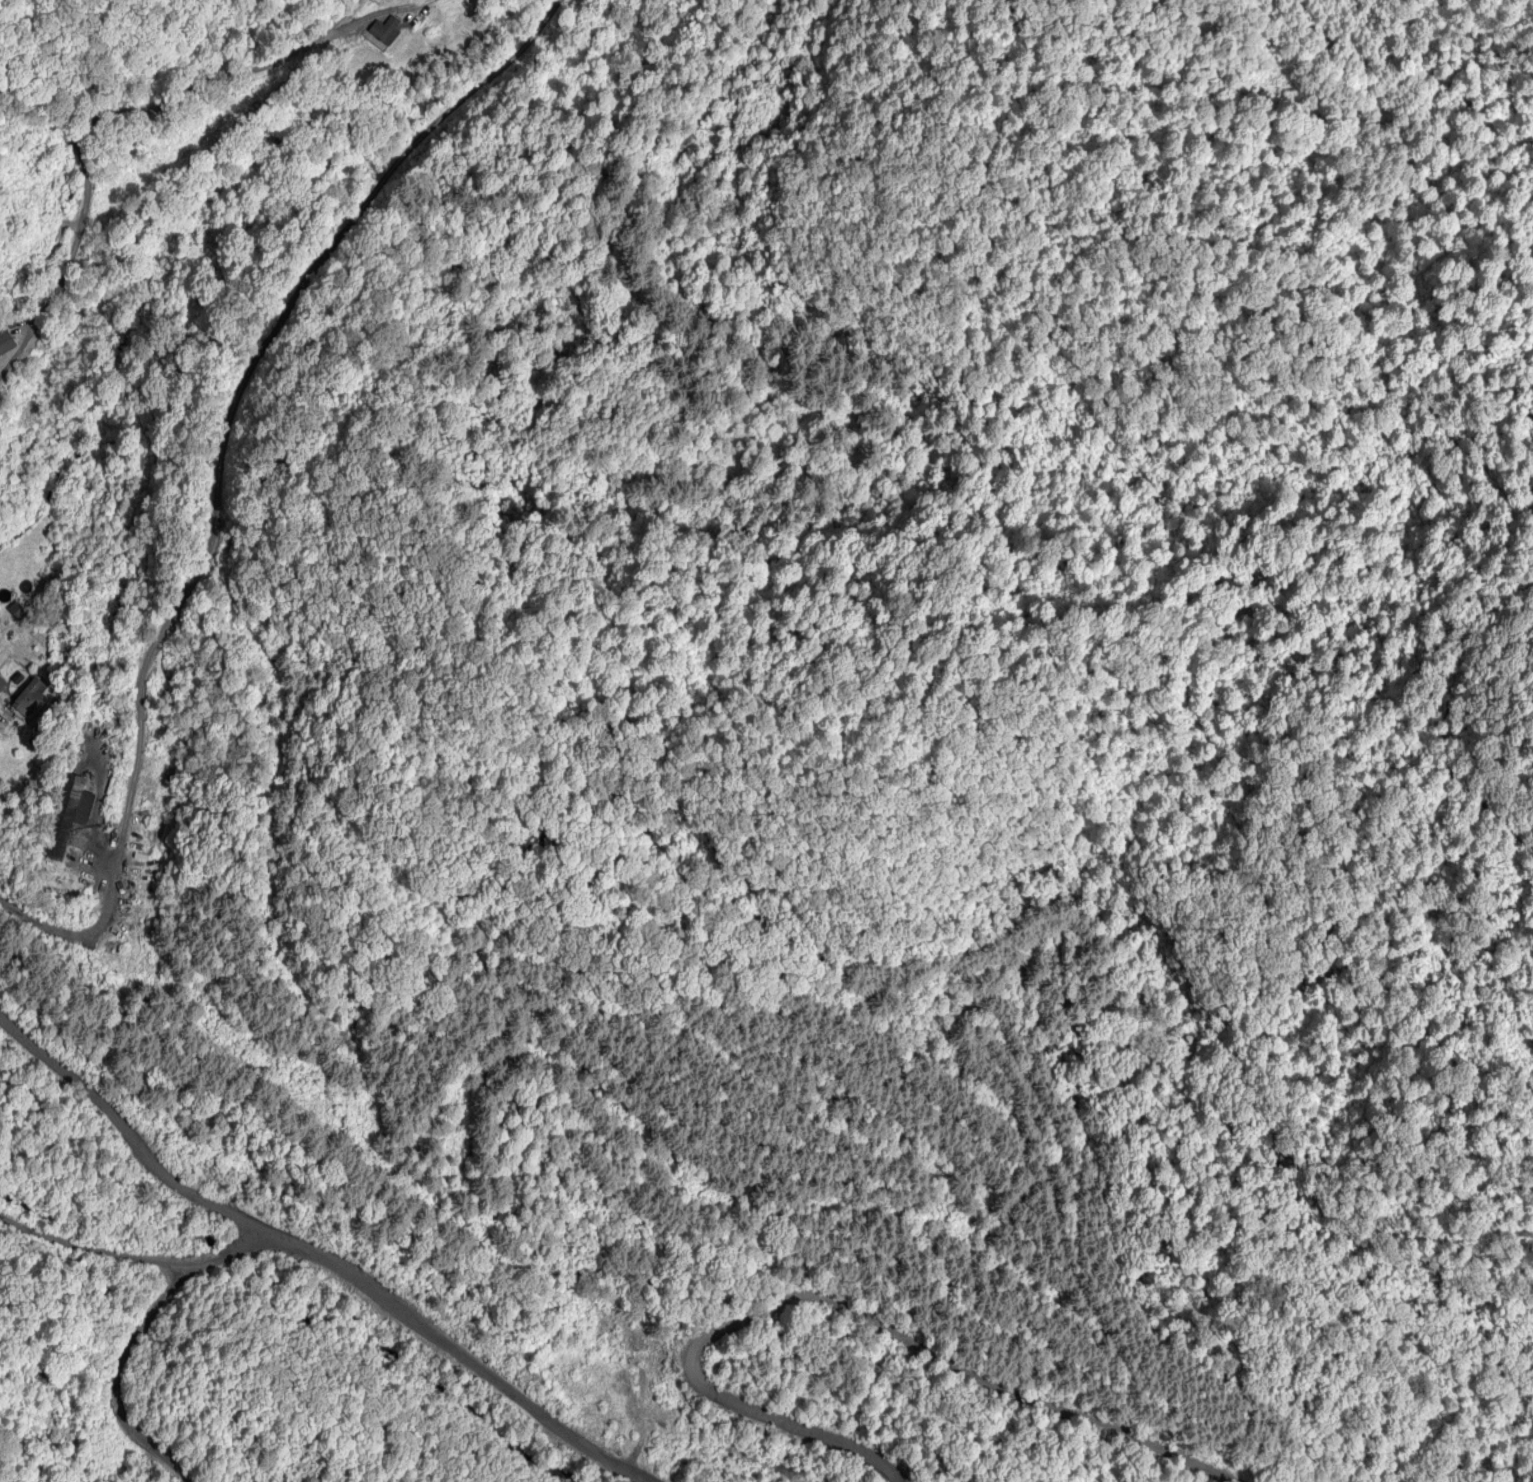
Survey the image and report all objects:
building: (386, 33)
road: (133, 111)
building: (7, 344)
road: (224, 475)
building: (17, 610)
building: (2, 683)
building: (30, 698)
building: (70, 812)
road: (343, 1279)
road: (954, 1364)
road: (790, 1421)

